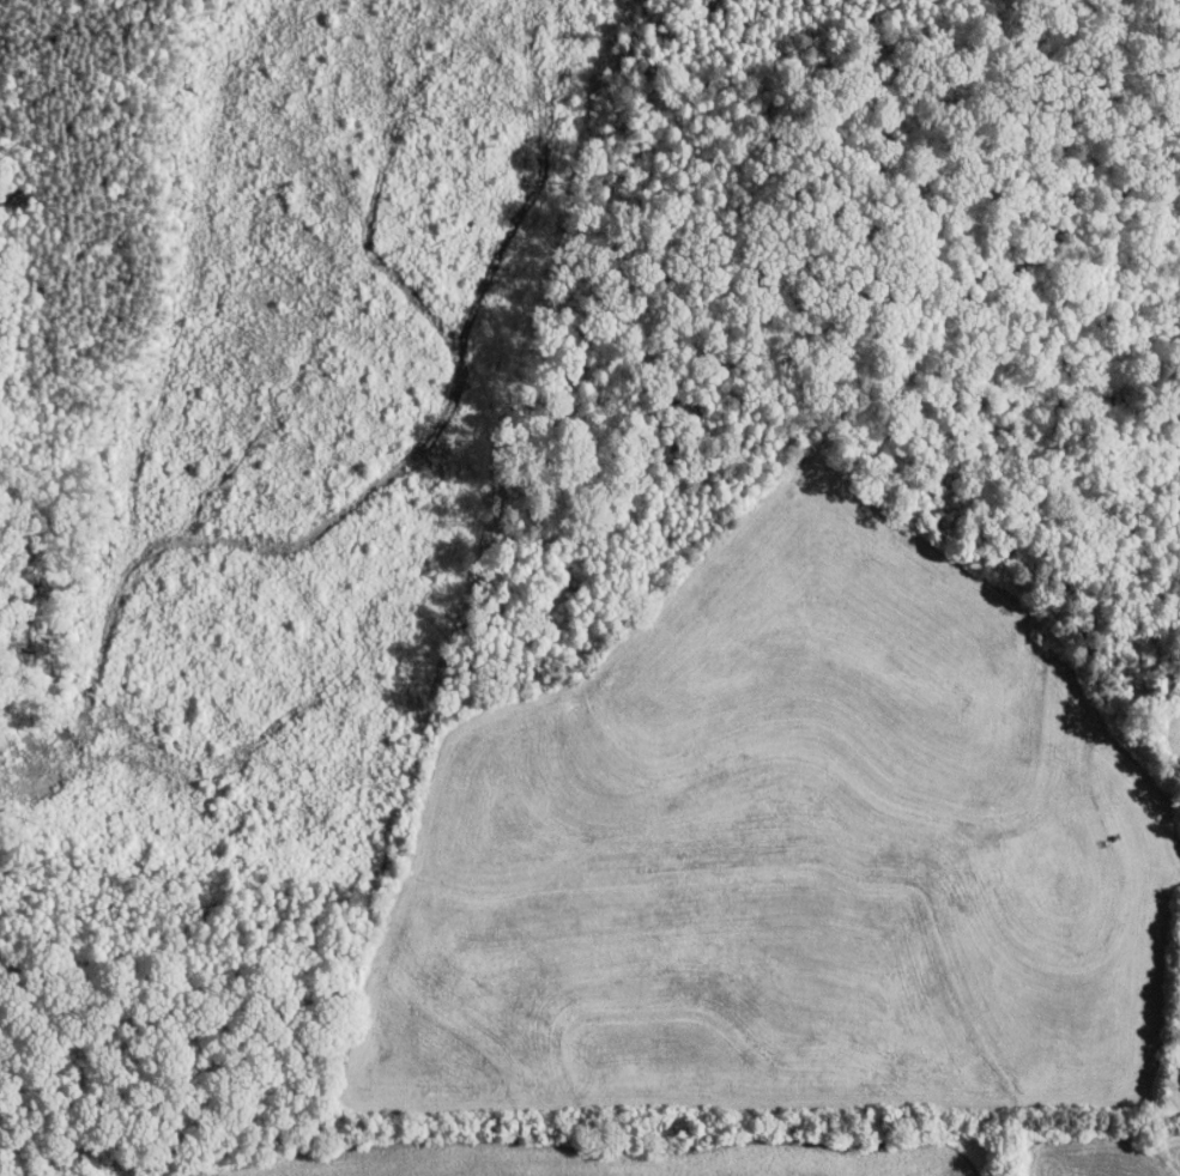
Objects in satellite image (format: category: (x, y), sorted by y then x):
road: (446, 634)

